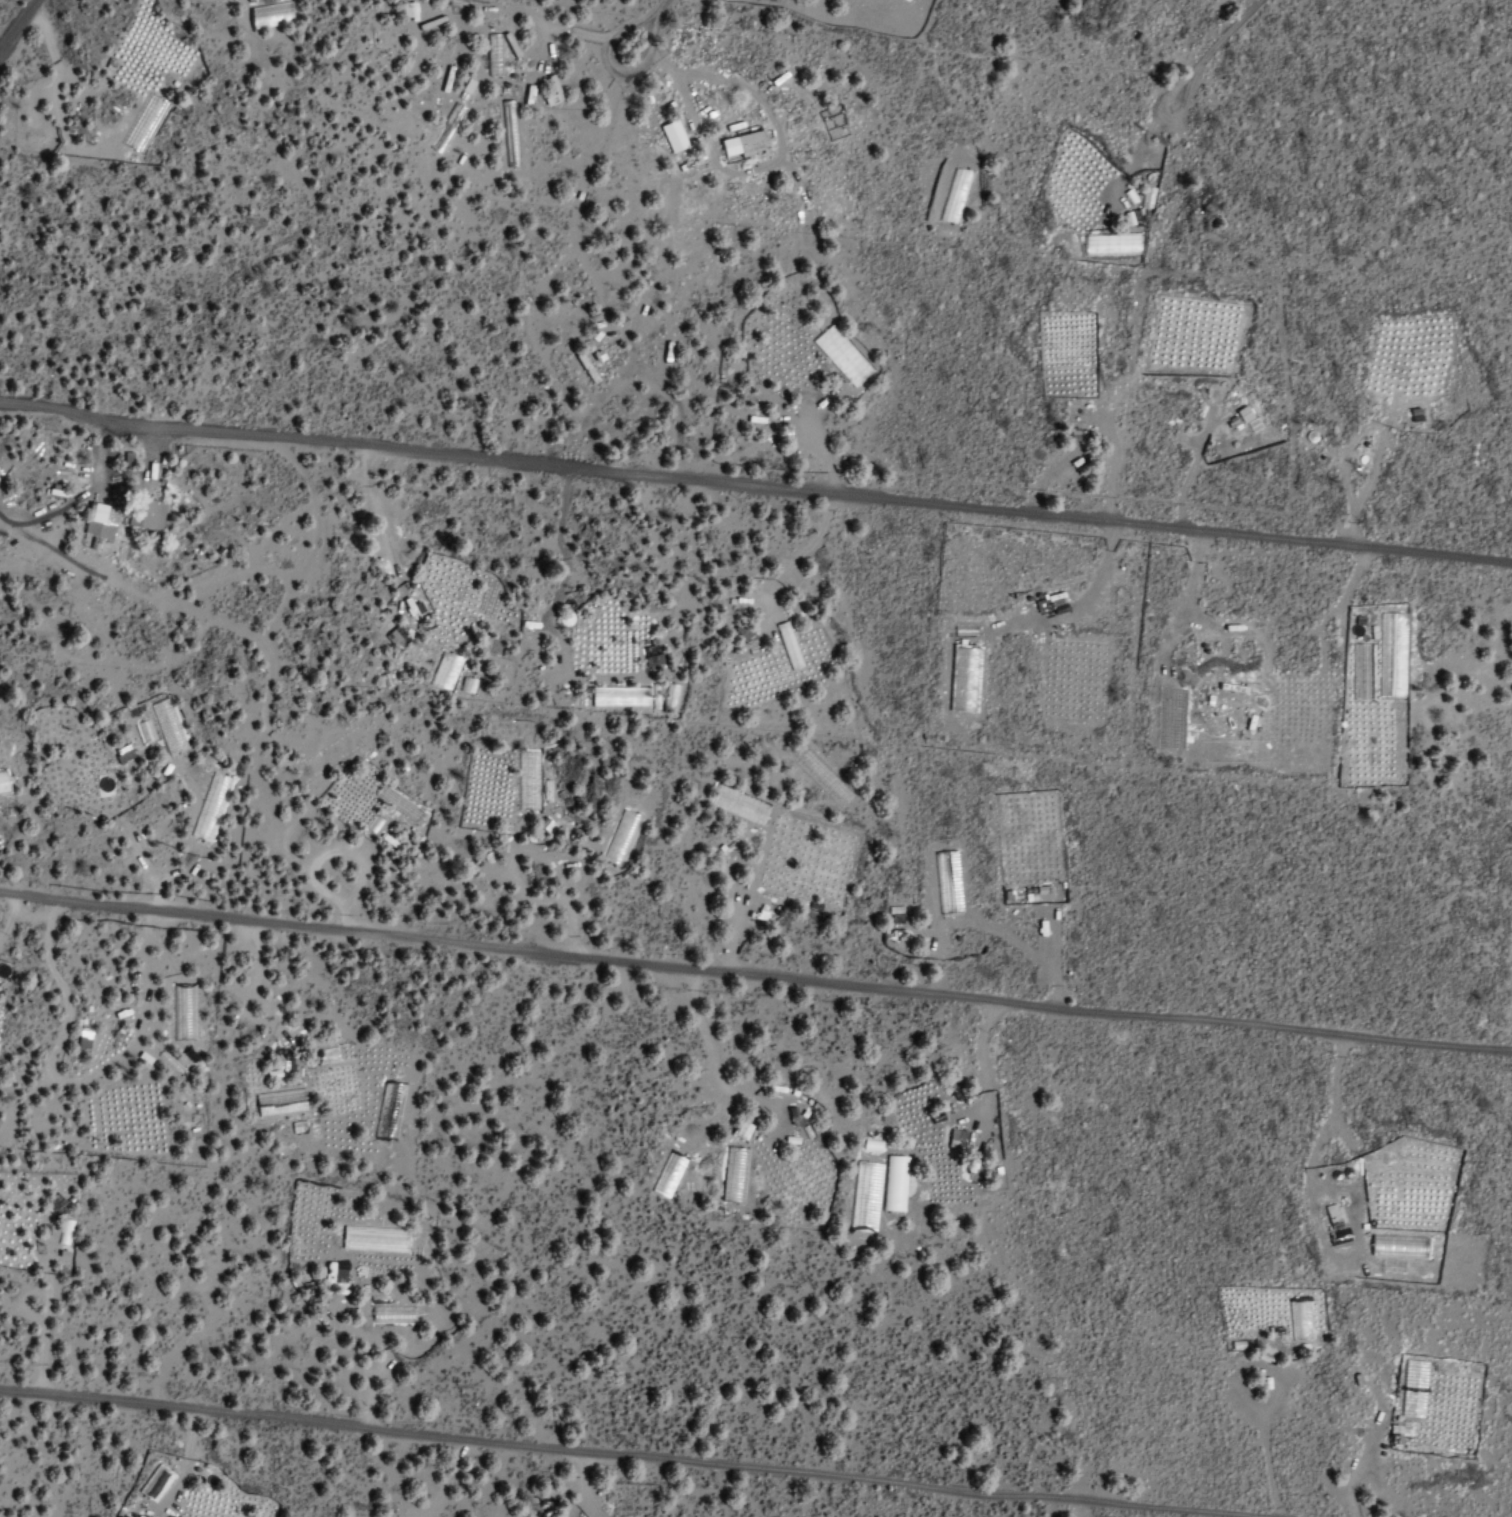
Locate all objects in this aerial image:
building: (411, 11)
road: (18, 23)
road: (643, 28)
road: (1199, 57)
building: (445, 78)
building: (551, 91)
building: (509, 133)
building: (671, 136)
building: (743, 145)
building: (584, 367)
road: (754, 489)
building: (97, 521)
building: (393, 635)
building: (1361, 672)
building: (443, 673)
building: (625, 697)
building: (522, 782)
building: (399, 804)
building: (737, 804)
road: (755, 977)
building: (286, 1067)
building: (279, 1102)
building: (955, 1139)
building: (734, 1175)
building: (894, 1184)
building: (1333, 1215)
building: (332, 1274)
building: (392, 1314)
building: (1412, 1388)
road: (637, 1455)

